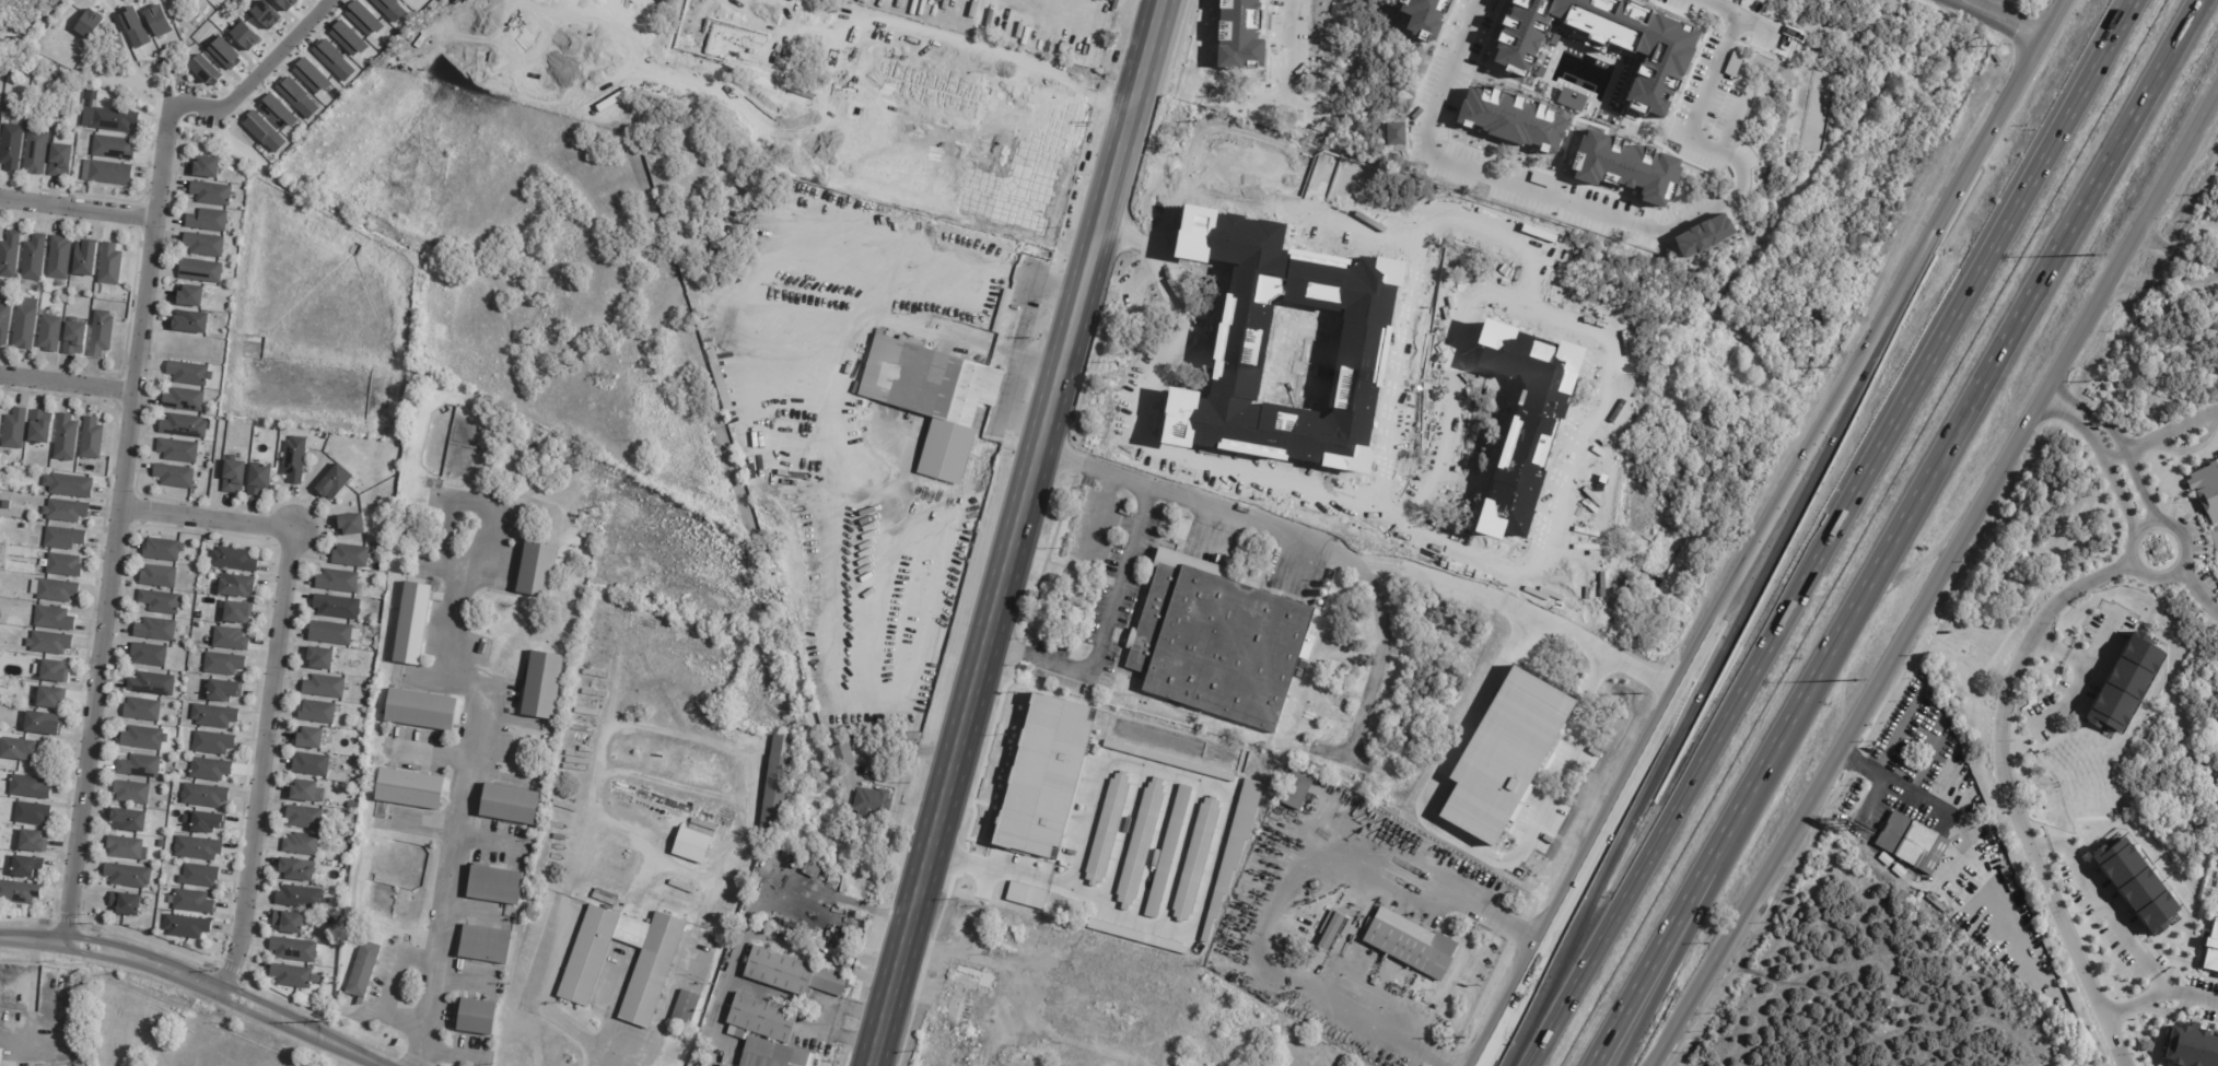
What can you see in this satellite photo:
building: (790, 0)
road: (1975, 1)
building: (288, 3)
building: (390, 9)
road: (1058, 9)
building: (266, 14)
building: (709, 15)
building: (363, 17)
building: (623, 19)
road: (2008, 19)
building: (159, 21)
building: (89, 24)
building: (703, 24)
building: (135, 27)
building: (827, 34)
building: (245, 35)
building: (348, 38)
road: (1301, 48)
building: (224, 52)
power tower: (1993, 52)
building: (786, 54)
building: (665, 55)
building: (334, 60)
building: (54, 70)
building: (205, 70)
road: (258, 72)
building: (311, 75)
parking lot: (187, 91)
building: (297, 97)
road: (845, 106)
building: (278, 112)
building: (104, 116)
parking lot: (210, 121)
building: (787, 124)
building: (264, 132)
road: (1702, 139)
building: (747, 143)
building: (110, 147)
building: (10, 148)
building: (35, 153)
building: (60, 157)
road: (1458, 165)
building: (201, 166)
building: (104, 171)
road: (872, 188)
building: (208, 192)
road: (77, 210)
building: (207, 220)
road: (1124, 232)
road: (781, 243)
building: (203, 244)
building: (719, 250)
road: (2176, 253)
building: (9, 256)
building: (33, 259)
building: (58, 259)
road: (964, 259)
building: (84, 260)
building: (108, 266)
building: (200, 271)
building: (1007, 283)
road: (2164, 283)
road: (1024, 288)
building: (189, 296)
road: (1180, 300)
building: (1002, 311)
building: (190, 321)
building: (3, 324)
building: (23, 326)
building: (48, 332)
building: (101, 335)
building: (74, 338)
power tower: (1826, 370)
building: (188, 374)
building: (720, 380)
road: (1451, 382)
road: (67, 384)
road: (1602, 397)
building: (933, 398)
building: (183, 399)
road: (2087, 412)
building: (39, 425)
building: (183, 426)
building: (14, 429)
road: (2159, 434)
building: (66, 437)
building: (90, 438)
building: (177, 450)
road: (2098, 452)
building: (294, 459)
building: (174, 476)
building: (233, 477)
road: (1385, 477)
building: (259, 479)
building: (334, 482)
building: (68, 485)
road: (2138, 490)
building: (2206, 490)
building: (3, 503)
road: (924, 509)
building: (65, 511)
road: (1100, 518)
road: (118, 522)
road: (1591, 522)
building: (349, 525)
road: (752, 530)
road: (1767, 530)
road: (1015, 532)
railway: (1034, 532)
road: (1830, 532)
road: (1894, 532)
road: (1296, 536)
building: (62, 538)
building: (162, 550)
building: (350, 555)
building: (233, 560)
building: (626, 560)
road: (2117, 561)
building: (62, 565)
road: (2174, 567)
road: (2183, 567)
road: (2122, 569)
building: (537, 570)
building: (156, 576)
road: (2176, 576)
road: (1560, 578)
road: (1936, 578)
building: (336, 581)
building: (1341, 582)
building: (236, 586)
building: (1352, 586)
building: (54, 590)
road: (2196, 591)
building: (159, 602)
building: (336, 607)
road: (2210, 607)
road: (1519, 611)
building: (236, 613)
building: (54, 618)
building: (603, 620)
building: (627, 620)
road: (1585, 621)
building: (411, 622)
building: (600, 628)
building: (634, 629)
building: (153, 630)
road: (1105, 632)
building: (331, 634)
building: (229, 639)
building: (598, 639)
road: (2100, 640)
building: (1217, 642)
building: (47, 643)
road: (2057, 648)
building: (595, 649)
building: (145, 653)
building: (319, 658)
building: (223, 665)
building: (52, 671)
road: (273, 673)
building: (149, 683)
building: (2124, 683)
building: (542, 686)
building: (323, 687)
building: (222, 691)
building: (47, 698)
road: (2066, 700)
building: (138, 707)
building: (421, 710)
building: (316, 713)
road: (1688, 714)
building: (211, 715)
building: (40, 725)
building: (1202, 727)
building: (141, 738)
building: (310, 739)
building: (210, 740)
road: (818, 746)
road: (894, 747)
building: (339, 749)
building: (15, 750)
road: (1342, 753)
building: (842, 757)
building: (1168, 760)
building: (136, 765)
building: (310, 765)
building: (207, 768)
building: (1044, 776)
road: (1898, 782)
road: (465, 783)
building: (775, 785)
building: (26, 787)
building: (1297, 788)
building: (408, 789)
building: (128, 790)
building: (303, 792)
building: (201, 794)
road: (1231, 796)
building: (510, 805)
building: (872, 806)
road: (2010, 808)
building: (31, 813)
building: (126, 818)
building: (303, 818)
building: (202, 820)
building: (564, 827)
building: (1107, 828)
road: (1121, 839)
building: (32, 842)
building: (1140, 842)
building: (1914, 844)
building: (301, 845)
building: (691, 846)
building: (1234, 846)
road: (1154, 847)
building: (126, 848)
building: (196, 848)
building: (570, 850)
building: (1167, 851)
road: (1180, 854)
building: (1195, 858)
building: (25, 867)
road: (1000, 869)
building: (296, 870)
road: (1317, 871)
building: (198, 876)
building: (127, 877)
building: (2010, 880)
building: (494, 885)
building: (2135, 885)
road: (772, 889)
building: (17, 892)
building: (679, 895)
building: (1026, 895)
building: (299, 898)
building: (604, 900)
building: (191, 902)
building: (126, 904)
road: (2108, 906)
building: (288, 923)
road: (1516, 926)
building: (186, 927)
building: (1331, 930)
building: (1135, 935)
building: (1410, 942)
building: (483, 944)
building: (2211, 948)
building: (292, 950)
building: (363, 970)
building: (582, 972)
building: (792, 973)
building: (293, 976)
road: (191, 979)
road: (738, 983)
road: (394, 987)
road: (539, 994)
road: (2159, 997)
building: (374, 1007)
building: (686, 1008)
building: (477, 1017)
building: (761, 1018)
power tower: (330, 1019)
road: (828, 1019)
road: (1389, 1033)
power tower: (1469, 1045)
building: (2191, 1046)
road: (610, 1049)
building: (773, 1054)
building: (1, 1056)
building: (694, 1064)
building: (62, 1065)
building: (721, 1065)

